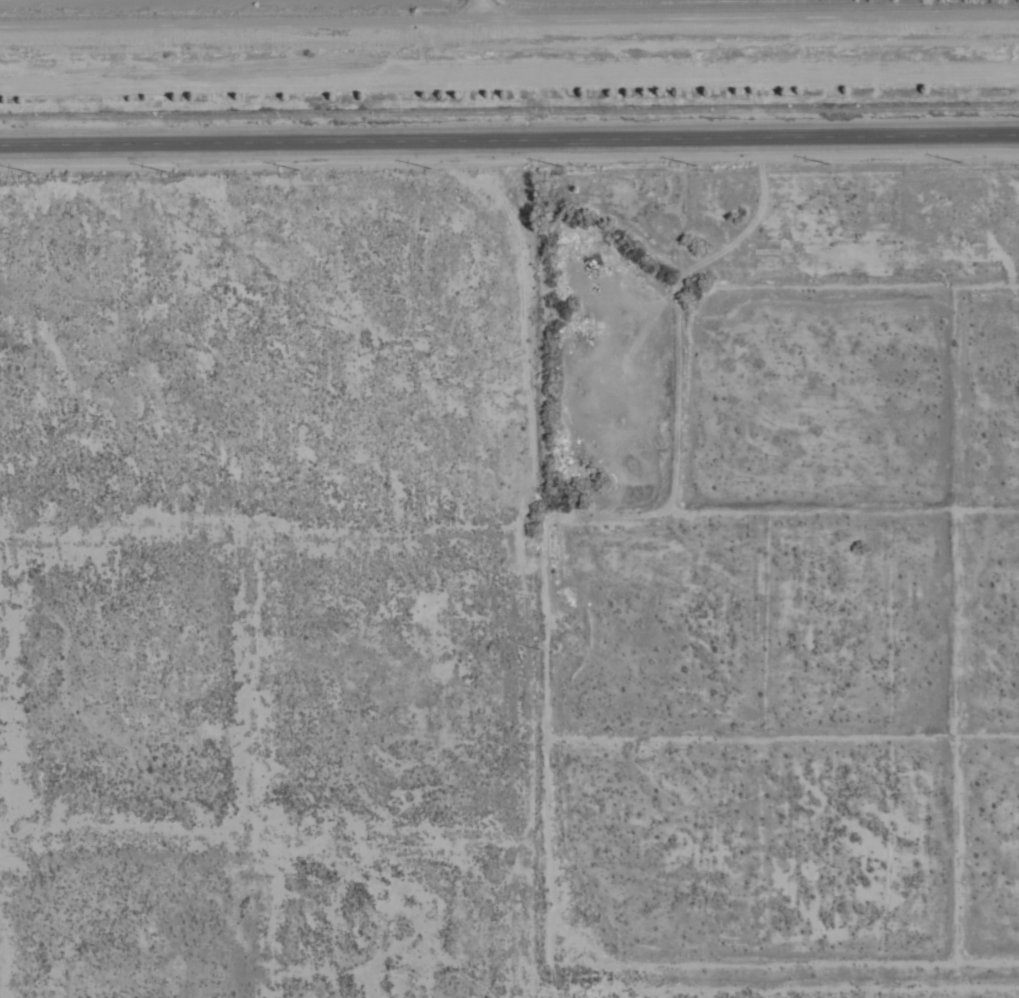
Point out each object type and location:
wastewater plant: (501, 53)
road: (509, 144)

